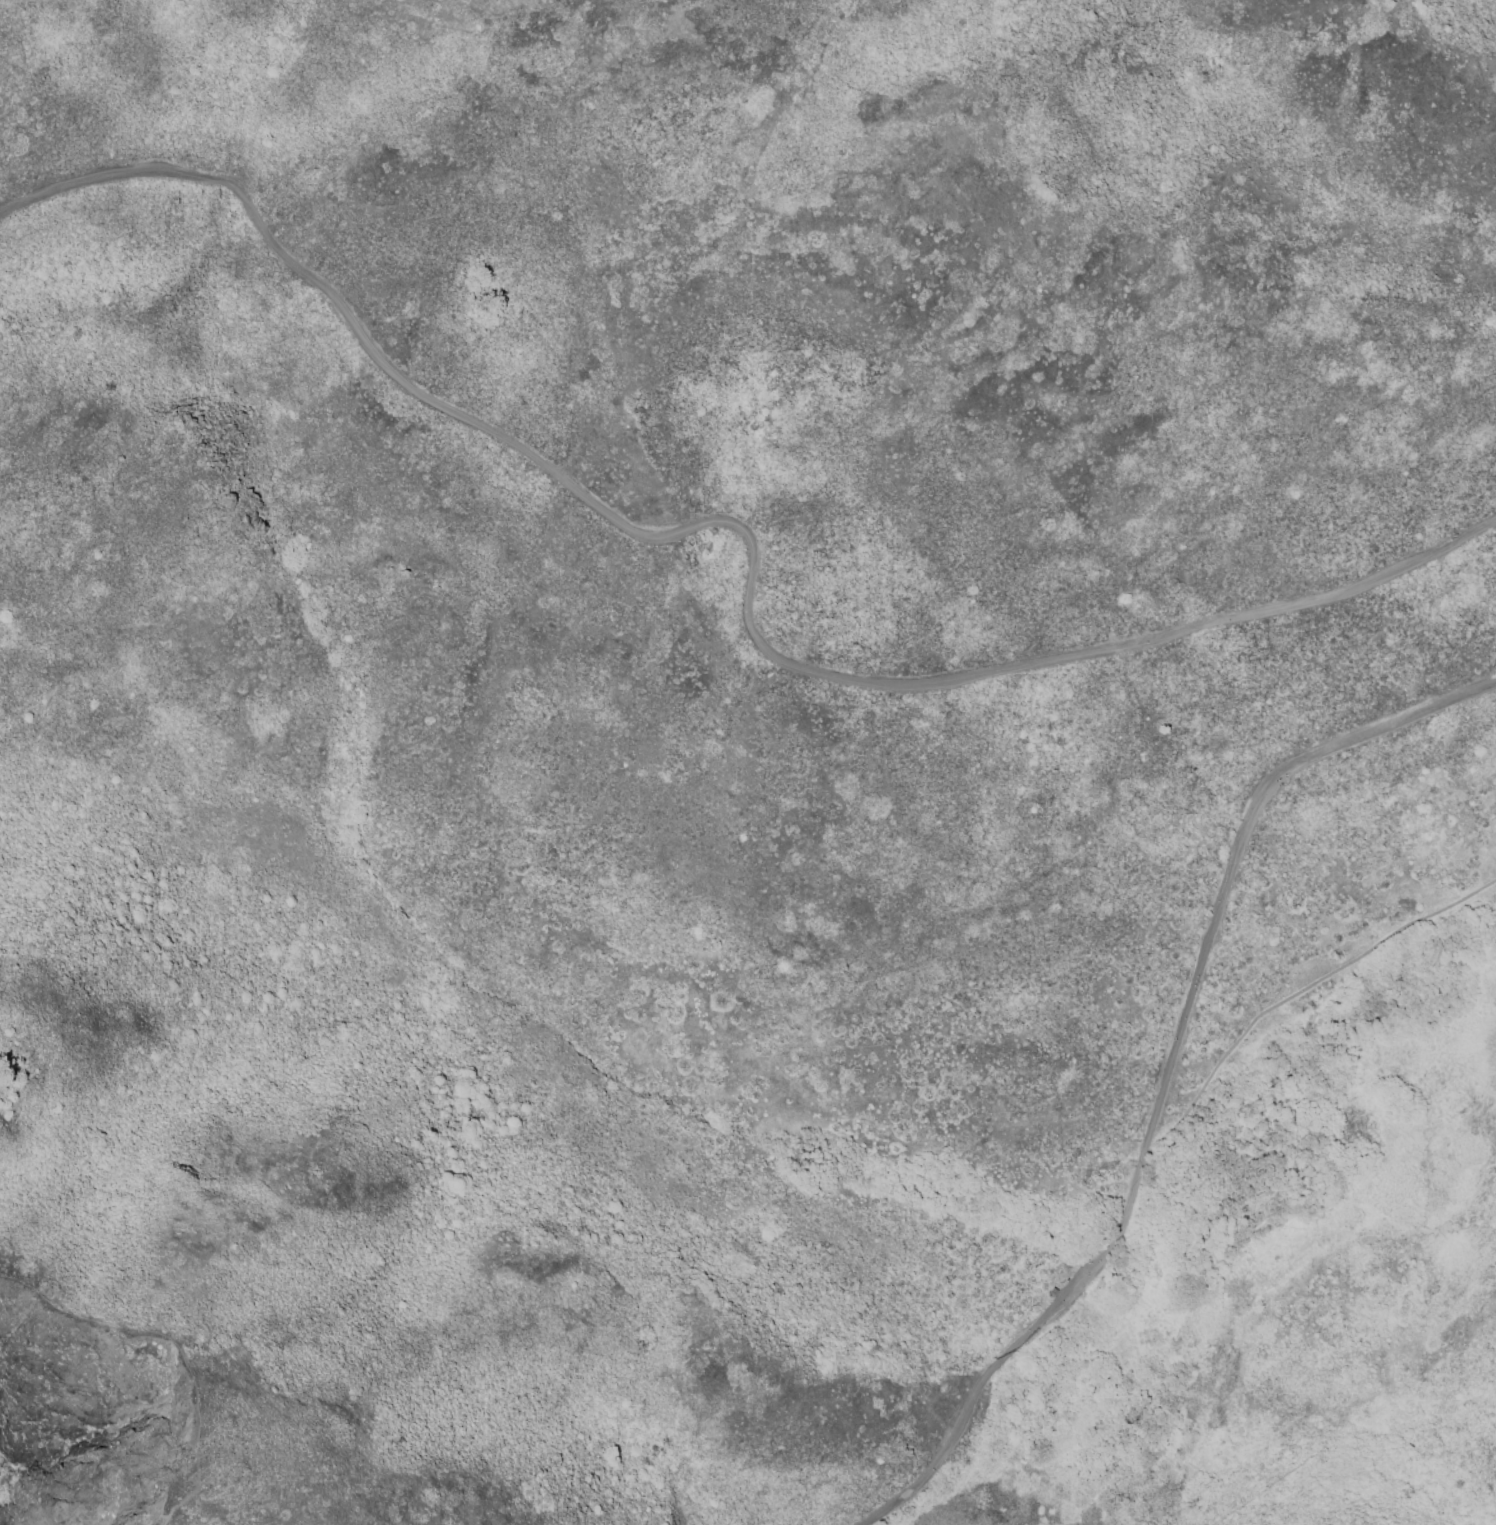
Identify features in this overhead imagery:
road: (742, 531)
road: (1294, 994)
road: (1172, 1073)
building: (1051, 1292)
road: (176, 1347)

